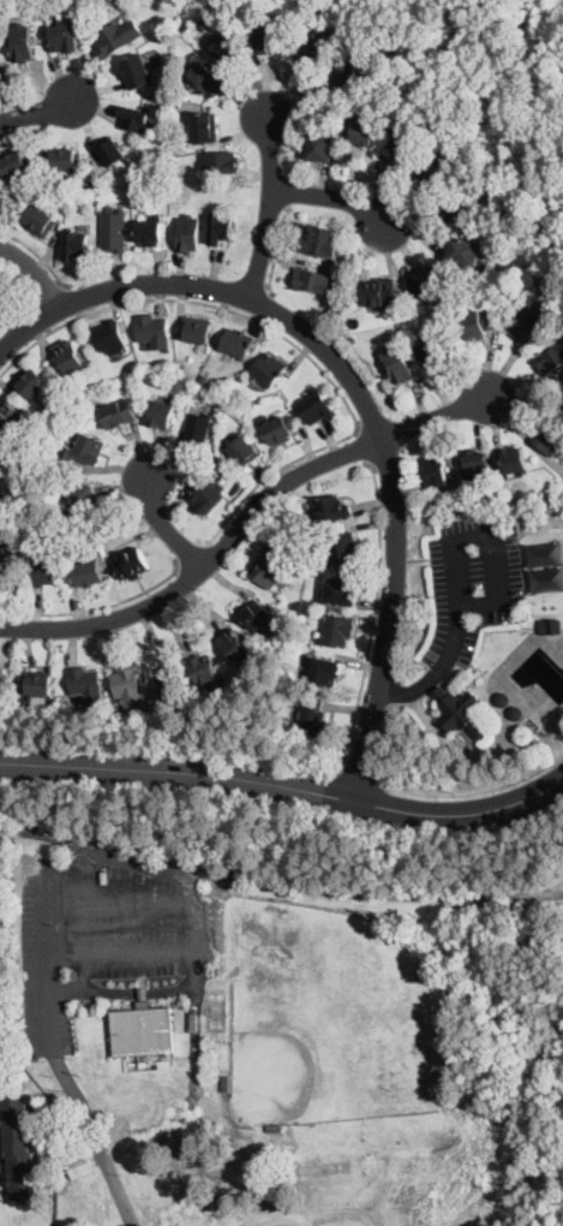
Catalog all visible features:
building: (65, 36)
building: (116, 36)
building: (269, 40)
building: (22, 42)
building: (317, 47)
building: (223, 48)
building: (134, 71)
building: (205, 77)
building: (351, 78)
road: (44, 111)
building: (134, 118)
building: (204, 127)
building: (364, 132)
building: (400, 133)
building: (319, 145)
building: (110, 150)
building: (65, 159)
building: (14, 162)
building: (220, 162)
building: (432, 168)
building: (42, 175)
building: (158, 175)
road: (333, 198)
building: (457, 204)
road: (269, 206)
building: (40, 220)
building: (220, 228)
building: (114, 230)
building: (150, 230)
building: (187, 233)
building: (318, 242)
building: (74, 244)
building: (465, 250)
road: (37, 252)
road: (276, 252)
road: (36, 269)
building: (346, 269)
building: (313, 278)
building: (425, 280)
building: (379, 291)
building: (2, 294)
road: (74, 299)
road: (265, 305)
building: (477, 322)
building: (528, 323)
building: (197, 328)
building: (154, 332)
building: (108, 335)
road: (286, 337)
building: (353, 339)
building: (239, 343)
building: (433, 351)
building: (70, 359)
building: (551, 359)
building: (399, 364)
building: (180, 369)
building: (269, 369)
building: (203, 377)
building: (30, 383)
road: (360, 393)
building: (316, 406)
building: (118, 412)
building: (162, 413)
building: (8, 421)
building: (278, 429)
building: (197, 433)
building: (551, 436)
road: (367, 446)
building: (83, 448)
building: (244, 451)
building: (514, 459)
building: (4, 464)
building: (473, 464)
building: (436, 470)
building: (206, 493)
building: (4, 499)
building: (80, 499)
building: (329, 511)
road: (244, 518)
road: (163, 522)
road: (454, 537)
building: (0, 547)
building: (342, 547)
road: (190, 553)
building: (130, 561)
building: (270, 567)
building: (44, 570)
building: (86, 573)
parking lot: (469, 582)
building: (341, 590)
road: (100, 608)
building: (257, 617)
building: (553, 625)
building: (337, 629)
building: (235, 647)
building: (204, 671)
building: (324, 671)
building: (40, 684)
building: (85, 684)
building: (0, 688)
building: (168, 688)
road: (408, 690)
building: (130, 691)
building: (20, 703)
building: (459, 710)
building: (311, 719)
road: (328, 772)
road: (360, 774)
road: (285, 785)
road: (473, 792)
parking lot: (109, 926)
road: (182, 951)
road: (47, 963)
road: (83, 971)
road: (137, 990)
park: (329, 1014)
building: (142, 1029)
building: (226, 1082)
building: (275, 1126)
road: (98, 1137)
building: (19, 1148)
building: (79, 1166)
park: (353, 1220)
park: (328, 1221)
park: (283, 1225)

